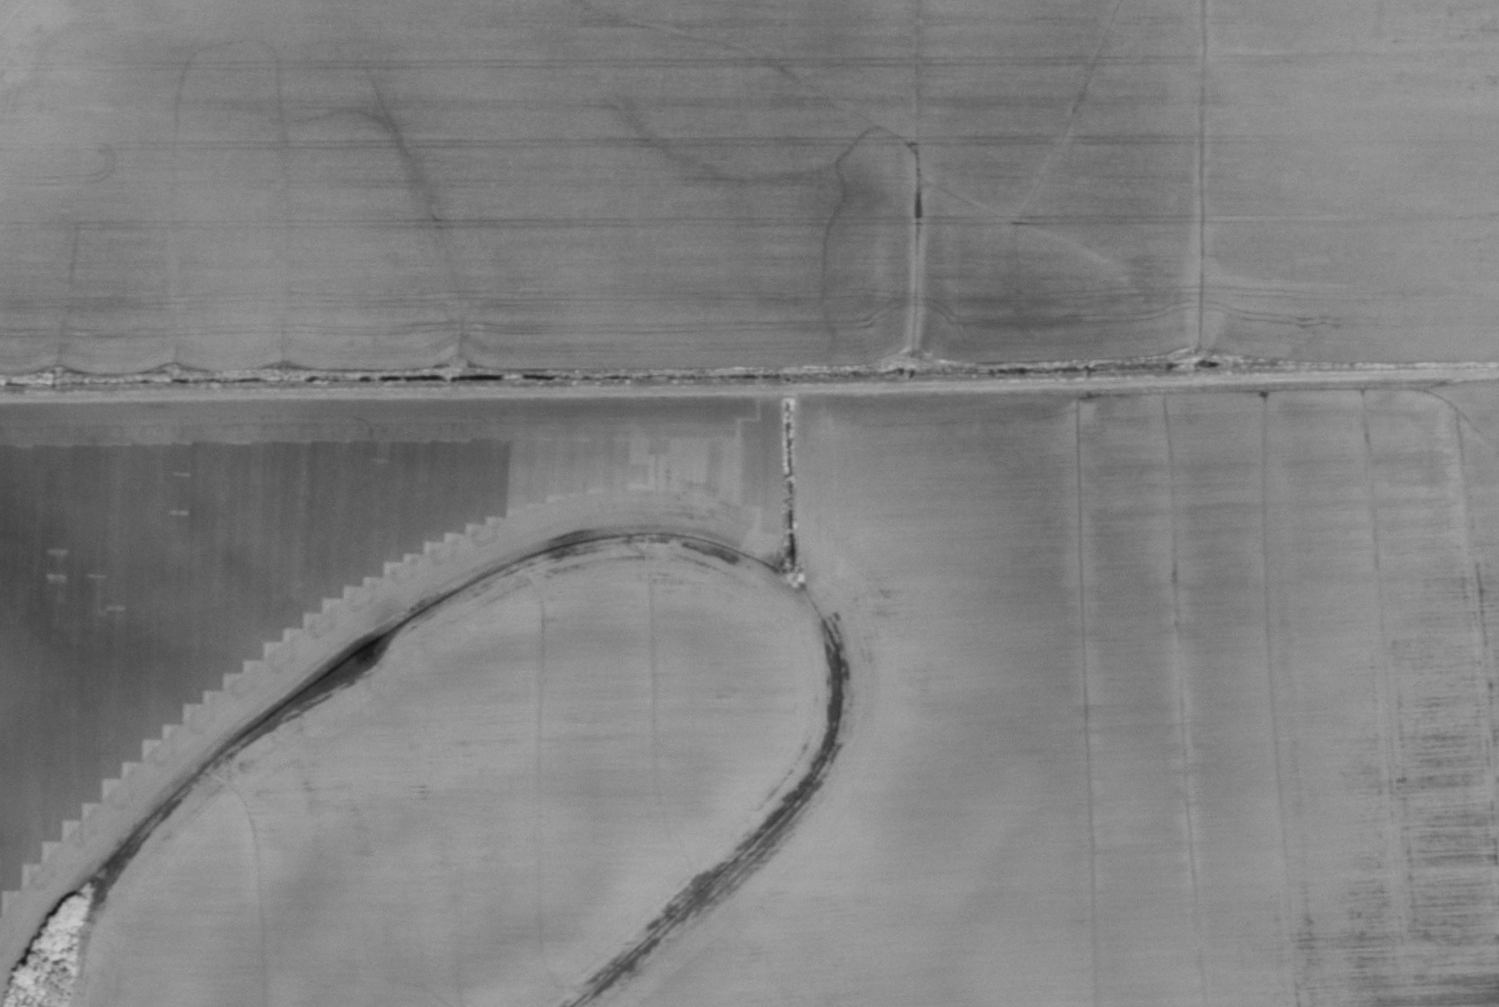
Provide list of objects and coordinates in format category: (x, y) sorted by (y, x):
road: (749, 388)

